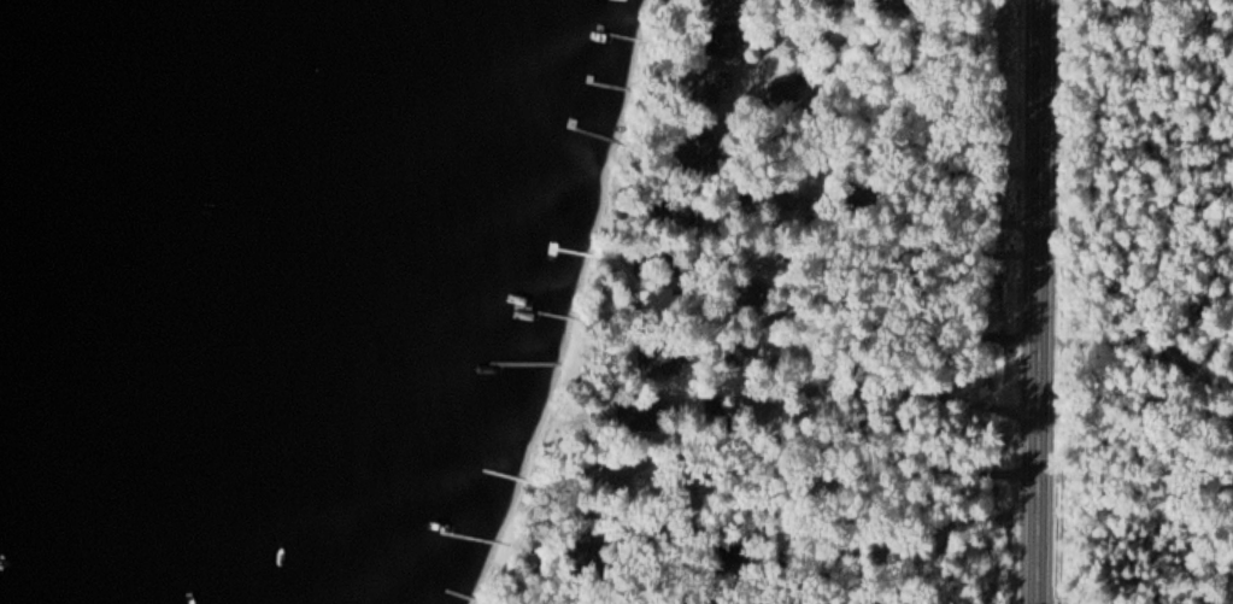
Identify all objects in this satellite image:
building: (724, 5)
building: (706, 63)
building: (697, 152)
road: (897, 184)
building: (680, 213)
road: (1040, 301)
building: (739, 351)
road: (840, 417)
road: (871, 486)
road: (876, 559)

